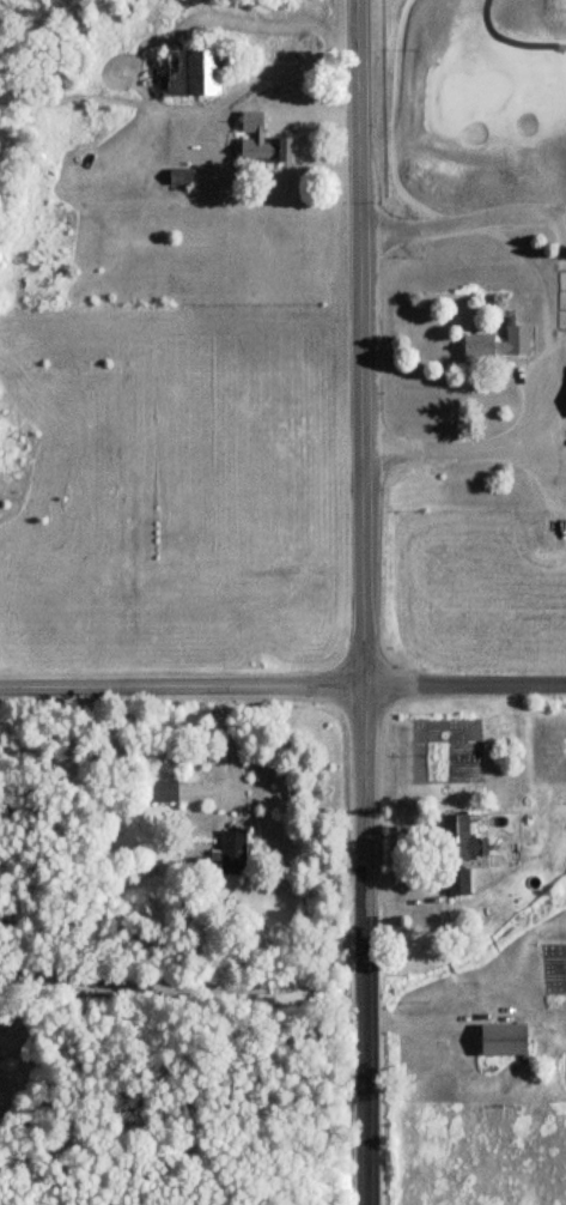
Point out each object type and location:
building: (195, 74)
building: (263, 141)
building: (182, 177)
road: (463, 220)
building: (498, 345)
road: (464, 448)
road: (363, 602)
road: (282, 685)
road: (226, 749)
building: (164, 791)
building: (235, 852)
building: (462, 852)
road: (183, 983)
building: (506, 1039)

